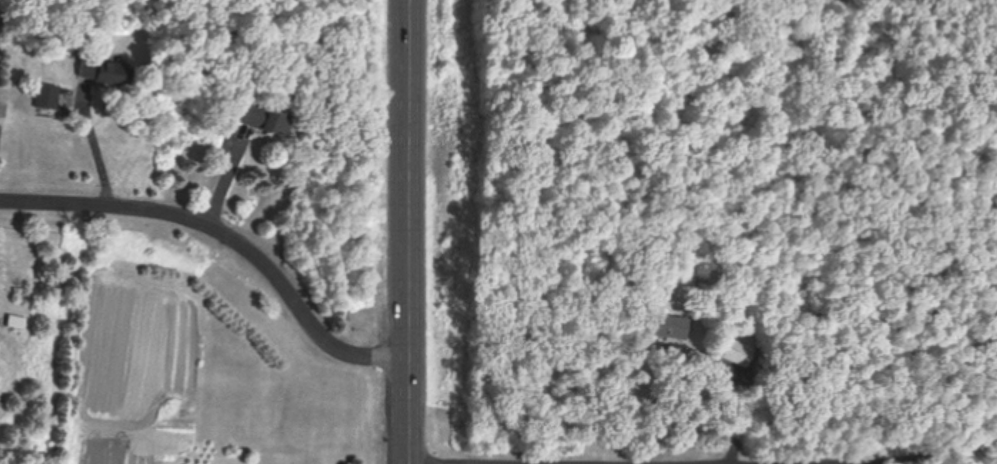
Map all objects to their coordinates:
building: (98, 70)
building: (46, 95)
building: (263, 118)
road: (225, 229)
road: (409, 232)
building: (15, 320)
building: (666, 325)
building: (735, 351)

